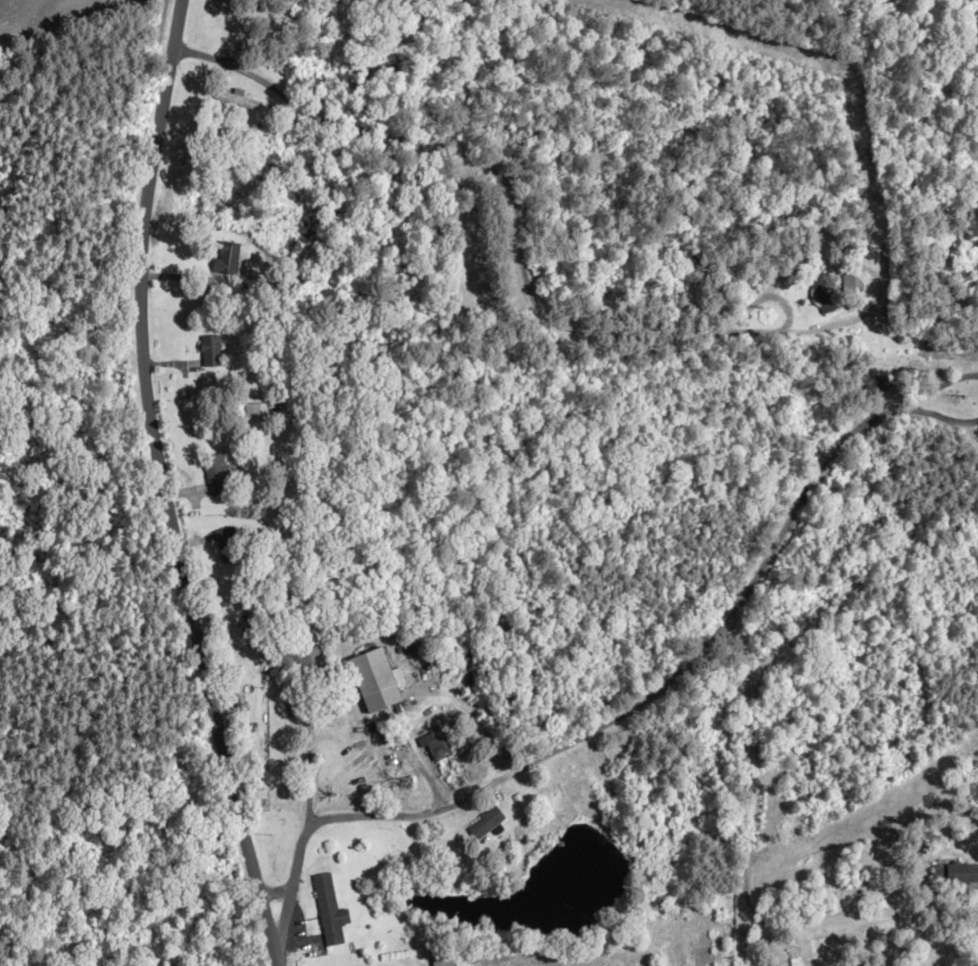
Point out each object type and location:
building: (240, 100)
road: (490, 169)
building: (226, 257)
building: (850, 281)
building: (827, 293)
road: (778, 327)
building: (208, 350)
building: (876, 383)
road: (904, 406)
building: (254, 411)
building: (216, 475)
road: (162, 486)
building: (228, 545)
building: (312, 662)
building: (379, 681)
building: (238, 686)
road: (596, 728)
building: (487, 822)
road: (744, 849)
building: (958, 874)
road: (275, 892)
building: (329, 911)
building: (706, 951)
building: (443, 960)
building: (765, 965)

